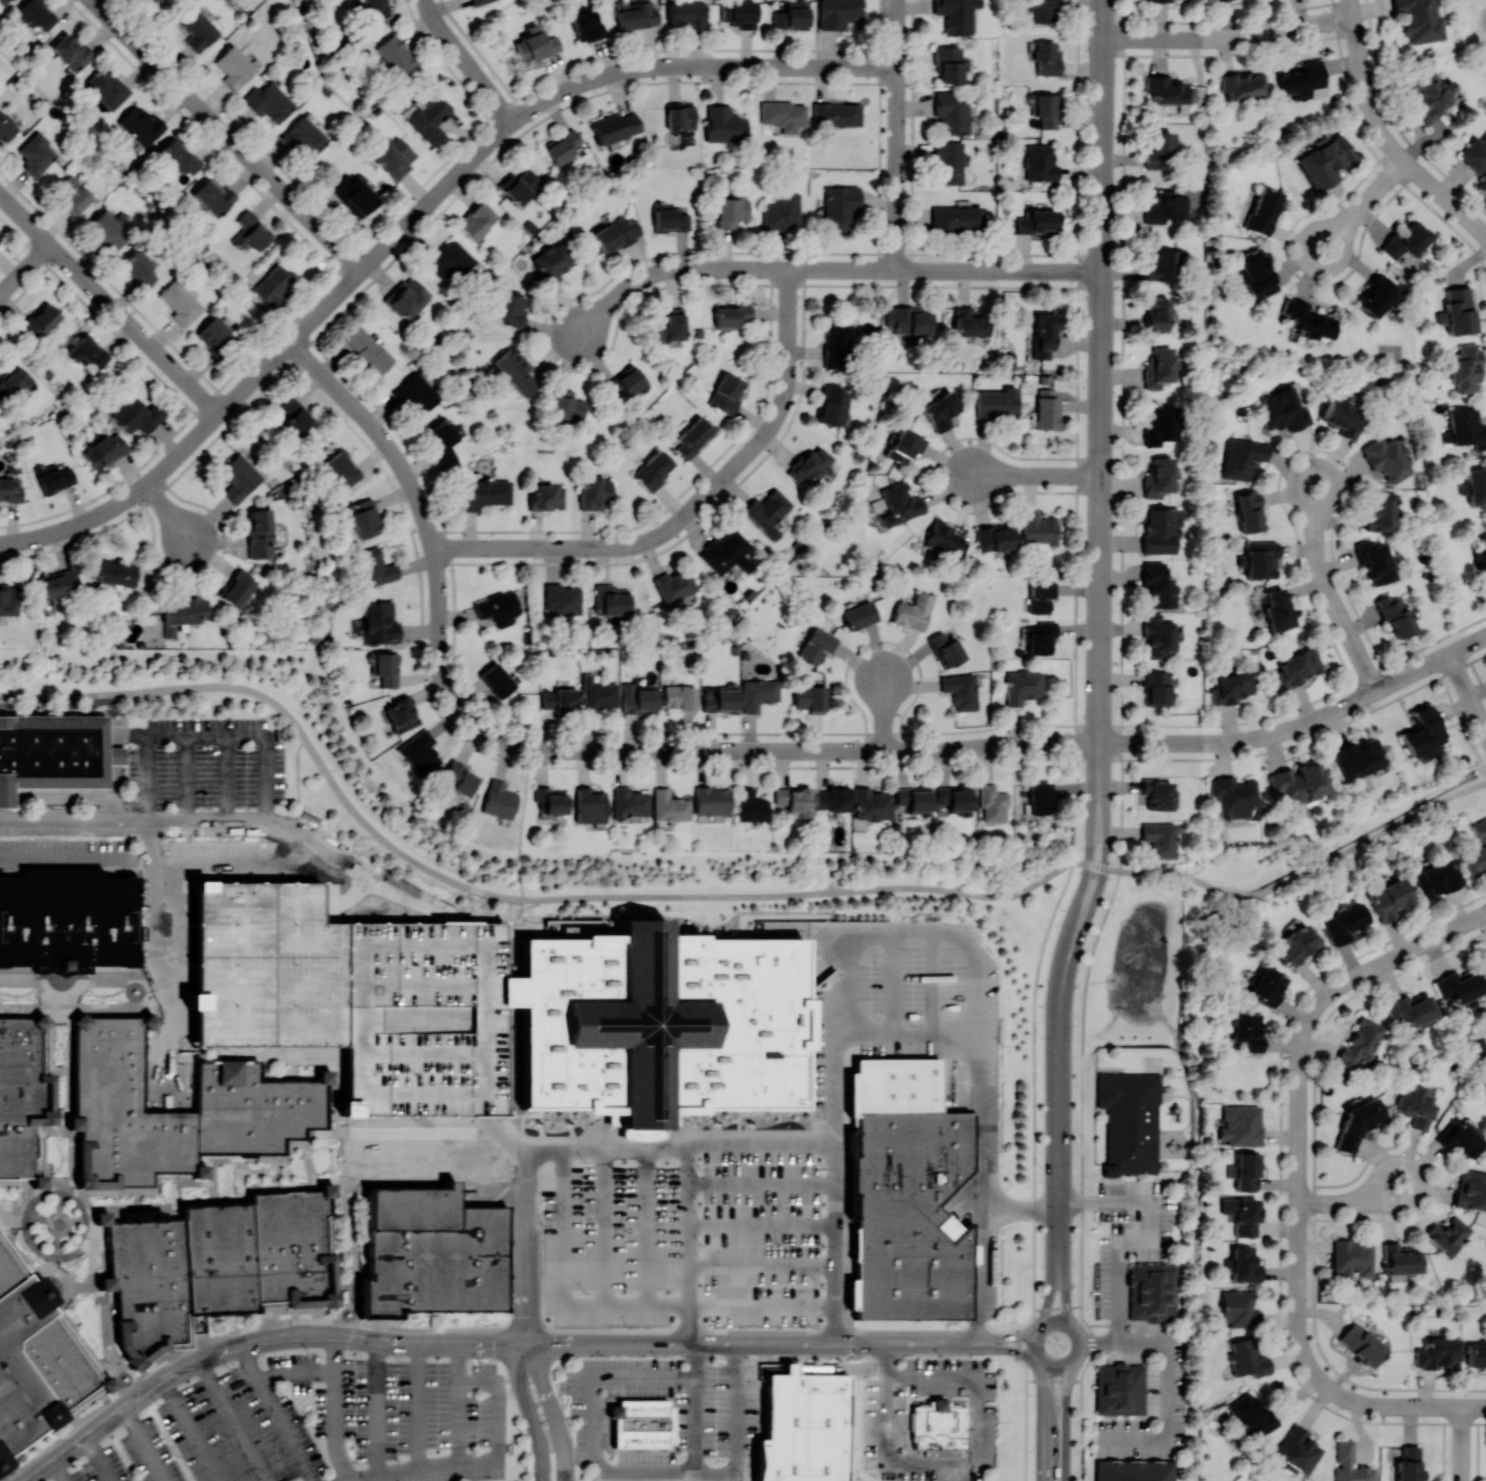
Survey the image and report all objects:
building: (153, 1)
building: (479, 1)
building: (1157, 1)
building: (3, 4)
building: (376, 8)
road: (1352, 8)
building: (1043, 11)
building: (837, 12)
building: (37, 13)
building: (636, 13)
building: (739, 13)
building: (687, 14)
building: (791, 15)
building: (956, 15)
building: (1418, 20)
building: (588, 26)
building: (198, 31)
road: (1229, 37)
building: (535, 45)
building: (71, 51)
building: (395, 54)
building: (1046, 58)
road: (467, 62)
building: (947, 63)
building: (234, 66)
building: (1301, 79)
building: (1242, 84)
building: (106, 87)
building: (1166, 89)
building: (1430, 94)
building: (269, 101)
building: (1047, 110)
building: (952, 111)
building: (836, 114)
building: (680, 115)
building: (783, 115)
building: (427, 116)
building: (724, 124)
building: (140, 125)
building: (616, 126)
building: (6, 127)
road: (227, 135)
road: (897, 135)
building: (304, 137)
road: (1390, 143)
building: (562, 147)
building: (1159, 151)
building: (37, 153)
building: (1475, 154)
building: (179, 156)
building: (394, 157)
building: (1324, 160)
building: (947, 162)
building: (1040, 163)
building: (520, 185)
road: (1103, 185)
building: (74, 194)
building: (354, 194)
building: (212, 195)
road: (432, 201)
road: (1363, 205)
building: (1164, 206)
building: (838, 207)
building: (1263, 210)
building: (731, 211)
building: (781, 211)
building: (669, 218)
building: (956, 219)
building: (477, 220)
building: (1037, 221)
building: (110, 228)
building: (250, 231)
building: (616, 234)
building: (1406, 240)
building: (450, 260)
building: (553, 261)
building: (1162, 265)
building: (140, 266)
road: (24, 267)
road: (670, 271)
road: (946, 271)
building: (1257, 273)
building: (273, 285)
building: (1376, 295)
building: (407, 296)
building: (180, 301)
road: (109, 303)
building: (511, 309)
building: (1457, 310)
building: (1156, 314)
building: (732, 315)
building: (908, 319)
building: (1307, 319)
building: (40, 321)
building: (972, 322)
building: (669, 324)
building: (215, 335)
building: (1044, 335)
building: (837, 344)
building: (367, 350)
building: (87, 352)
building: (1158, 367)
building: (1464, 367)
building: (517, 371)
building: (13, 381)
building: (627, 382)
building: (726, 392)
building: (416, 393)
building: (997, 402)
building: (832, 404)
building: (567, 405)
building: (1046, 409)
building: (1284, 409)
building: (940, 410)
road: (1102, 410)
building: (136, 414)
building: (294, 415)
building: (1344, 417)
building: (1160, 425)
building: (1466, 428)
road: (1077, 430)
building: (693, 437)
building: (443, 440)
building: (905, 445)
building: (105, 450)
building: (1243, 459)
building: (1386, 459)
building: (809, 464)
building: (342, 468)
building: (652, 470)
road: (1038, 474)
building: (54, 476)
building: (239, 477)
building: (1158, 477)
road: (410, 482)
building: (1476, 486)
building: (9, 490)
building: (484, 493)
building: (594, 493)
building: (545, 496)
building: (900, 503)
road: (1102, 504)
road: (693, 507)
road: (169, 511)
building: (768, 511)
building: (1249, 511)
building: (1379, 511)
building: (365, 518)
building: (1160, 529)
building: (1038, 530)
building: (260, 532)
building: (995, 537)
building: (943, 538)
road: (25, 539)
road: (1316, 550)
building: (726, 552)
building: (1481, 554)
building: (1261, 559)
building: (1374, 561)
building: (375, 567)
road: (1102, 568)
building: (115, 572)
building: (57, 583)
building: (675, 585)
building: (1157, 585)
building: (239, 588)
building: (1041, 595)
building: (562, 599)
building: (8, 600)
building: (610, 600)
building: (497, 607)
building: (1278, 609)
building: (912, 611)
building: (183, 613)
building: (858, 615)
building: (1395, 616)
building: (379, 622)
building: (1158, 636)
building: (1041, 638)
building: (818, 644)
building: (946, 648)
road: (1358, 650)
road: (1101, 660)
building: (1297, 667)
building: (386, 668)
building: (496, 679)
building: (1023, 686)
building: (1156, 687)
building: (1231, 687)
building: (960, 690)
road: (1468, 692)
building: (758, 693)
building: (598, 694)
building: (681, 697)
building: (639, 698)
building: (810, 698)
building: (560, 699)
building: (722, 699)
building: (401, 714)
road: (886, 714)
road: (1301, 725)
building: (1423, 734)
road: (209, 735)
road: (1121, 745)
road: (747, 751)
building: (420, 752)
building: (55, 757)
building: (1357, 757)
road: (116, 763)
road: (298, 775)
building: (460, 778)
road: (187, 779)
road: (228, 779)
building: (1297, 782)
building: (1157, 793)
road: (58, 797)
building: (1040, 797)
building: (1233, 797)
building: (955, 798)
building: (794, 799)
building: (832, 799)
building: (915, 799)
building: (499, 800)
building: (549, 800)
building: (711, 800)
building: (629, 802)
building: (993, 803)
building: (871, 804)
building: (589, 805)
building: (669, 805)
building: (750, 805)
road: (240, 823)
road: (522, 835)
building: (1160, 839)
road: (150, 840)
building: (1477, 850)
road: (75, 857)
building: (1436, 878)
road: (720, 895)
building: (1388, 899)
building: (66, 919)
building: (1343, 922)
building: (1297, 944)
road: (1401, 954)
building: (1485, 954)
building: (273, 964)
parking garage: (273, 964)
road: (935, 983)
building: (1267, 985)
building: (1461, 987)
road: (1060, 1003)
building: (1411, 1010)
road: (894, 1013)
building: (430, 1017)
parking garage: (430, 1017)
building: (670, 1024)
building: (1247, 1030)
road: (939, 1035)
road: (835, 1036)
building: (1360, 1044)
road: (982, 1083)
building: (24, 1095)
building: (260, 1095)
building: (1415, 1107)
building: (1129, 1121)
building: (1358, 1123)
building: (1241, 1125)
road: (335, 1132)
road: (401, 1132)
building: (1459, 1138)
road: (781, 1144)
building: (1246, 1171)
road: (1035, 1175)
road: (196, 1180)
road: (761, 1185)
building: (1471, 1190)
road: (1299, 1193)
building: (910, 1195)
road: (1351, 1201)
road: (1018, 1212)
building: (1241, 1214)
building: (60, 1222)
road: (606, 1225)
road: (648, 1225)
road: (761, 1225)
building: (1447, 1234)
parking lot: (685, 1239)
road: (1155, 1240)
road: (527, 1245)
building: (432, 1254)
road: (350, 1257)
building: (1352, 1257)
building: (1400, 1259)
road: (688, 1261)
building: (217, 1263)
building: (1244, 1264)
road: (761, 1266)
road: (566, 1286)
building: (1152, 1291)
road: (1050, 1297)
road: (1064, 1298)
road: (761, 1305)
road: (1057, 1307)
building: (1239, 1309)
road: (1104, 1324)
road: (1075, 1332)
road: (1003, 1337)
road: (258, 1343)
road: (748, 1344)
building: (1360, 1344)
road: (1005, 1348)
building: (1437, 1353)
building: (1476, 1353)
building: (37, 1358)
building: (1247, 1358)
road: (297, 1375)
road: (1053, 1379)
road: (1167, 1379)
building: (1119, 1388)
road: (461, 1403)
road: (889, 1403)
road: (1402, 1405)
road: (420, 1406)
road: (377, 1408)
road: (336, 1410)
road: (551, 1410)
road: (527, 1412)
road: (278, 1414)
road: (1065, 1415)
building: (1251, 1415)
road: (598, 1419)
road: (979, 1420)
road: (1046, 1420)
road: (235, 1421)
building: (642, 1423)
parking lot: (318, 1425)
road: (695, 1426)
building: (803, 1427)
building: (938, 1427)
road: (738, 1429)
road: (191, 1430)
road: (146, 1444)
road: (1462, 1444)
building: (1298, 1449)
road: (101, 1459)
road: (486, 1463)
building: (1349, 1464)
building: (1408, 1464)
building: (1134, 1470)
road: (62, 1471)

